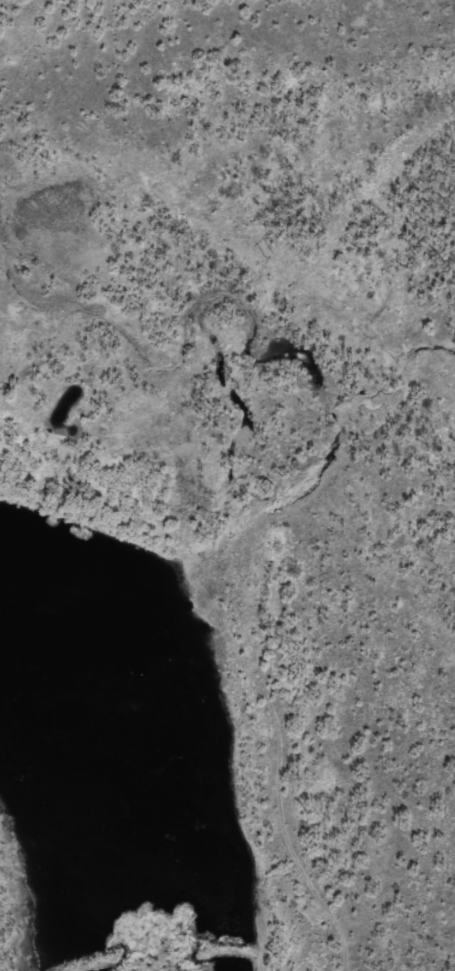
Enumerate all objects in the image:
power tower: (261, 260)

